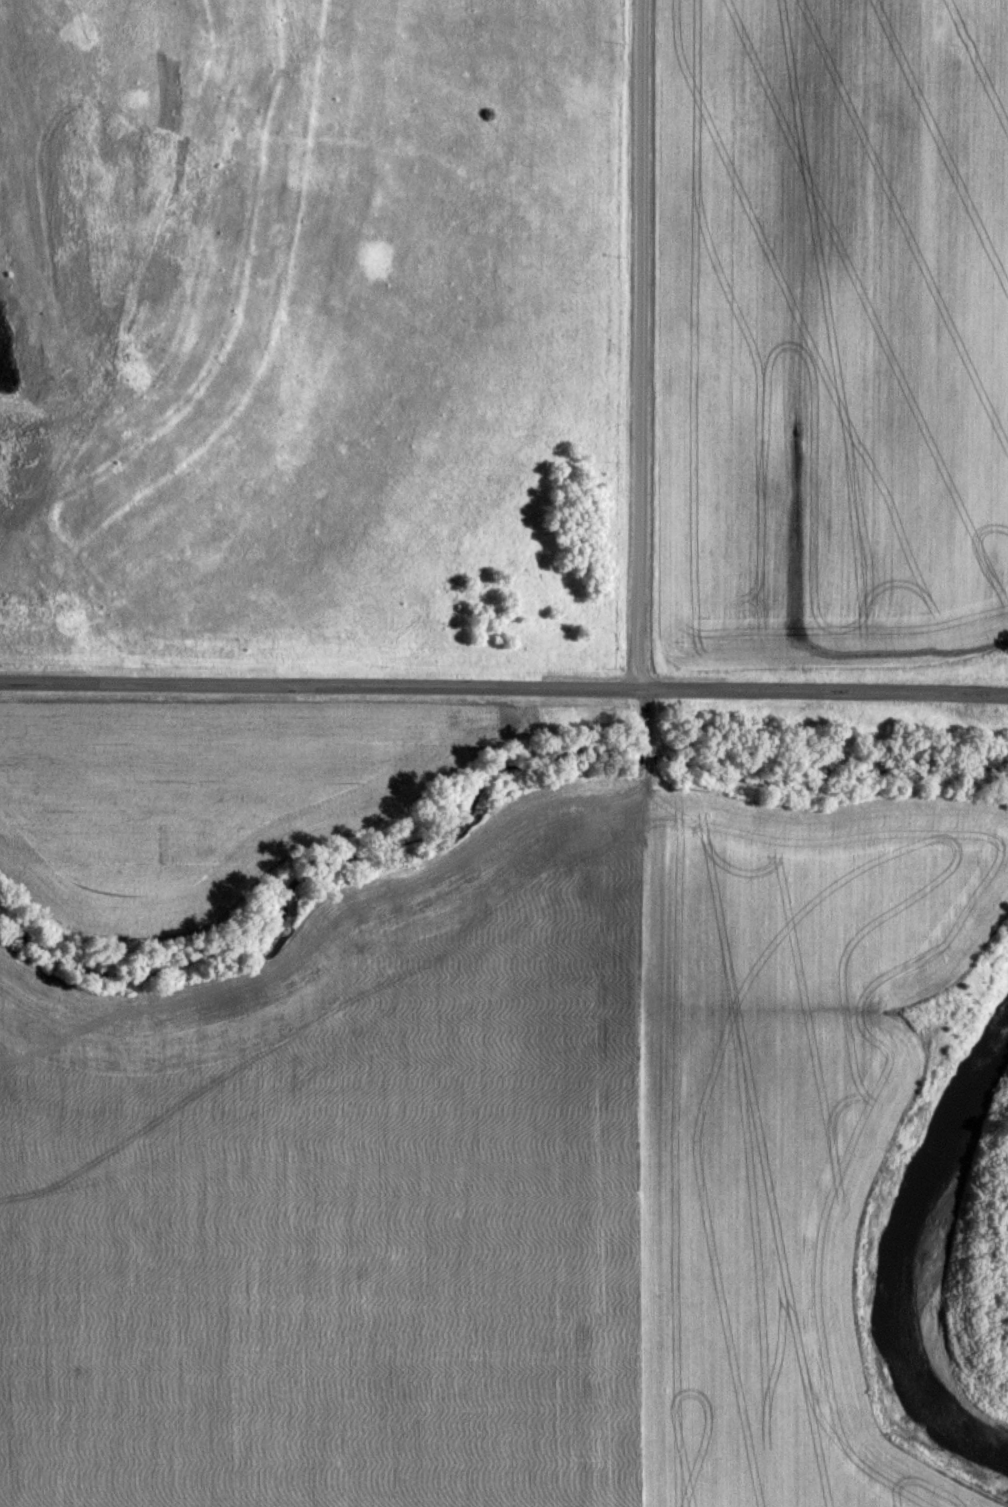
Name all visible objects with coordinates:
road: (644, 352)
road: (503, 702)
river: (921, 1251)

